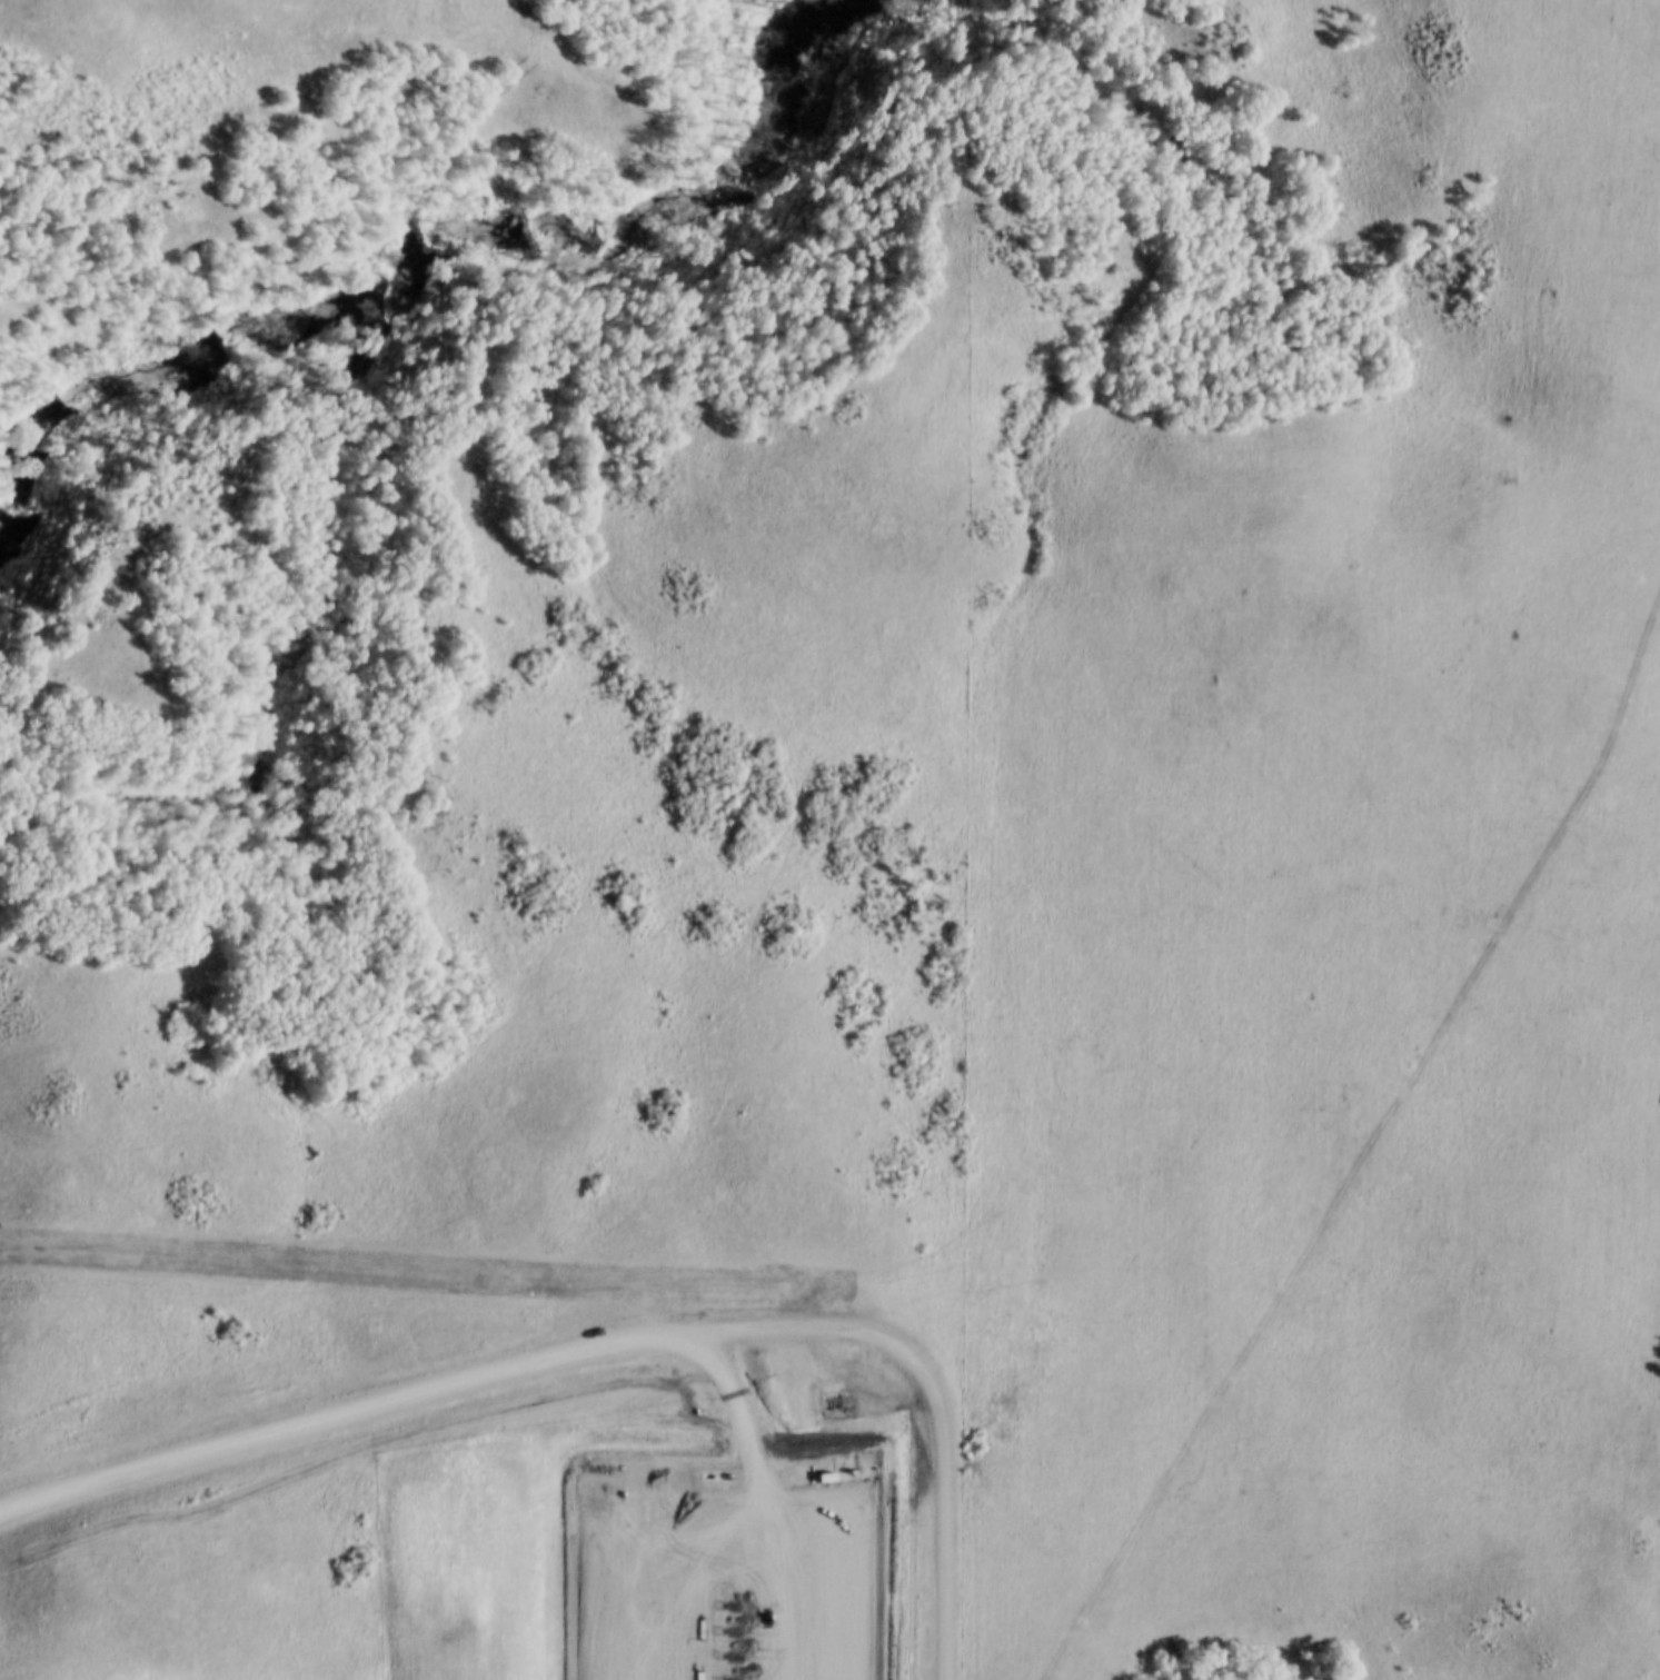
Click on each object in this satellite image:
road: (617, 1332)
road: (755, 1462)
building: (626, 1485)
storage tank: (626, 1485)
building: (639, 1488)
storage tank: (639, 1488)
building: (652, 1488)
storage tank: (652, 1488)
building: (665, 1490)
storage tank: (665, 1490)
building: (677, 1491)
storage tank: (677, 1491)
petroleum well: (723, 1679)

